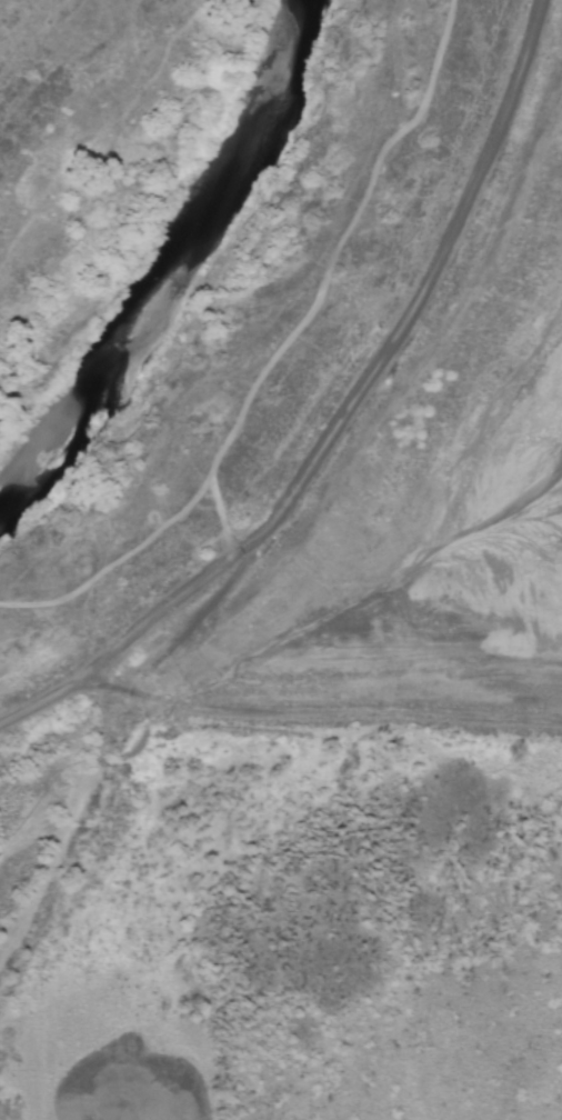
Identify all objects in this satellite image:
river: (178, 256)
quarry: (358, 771)

